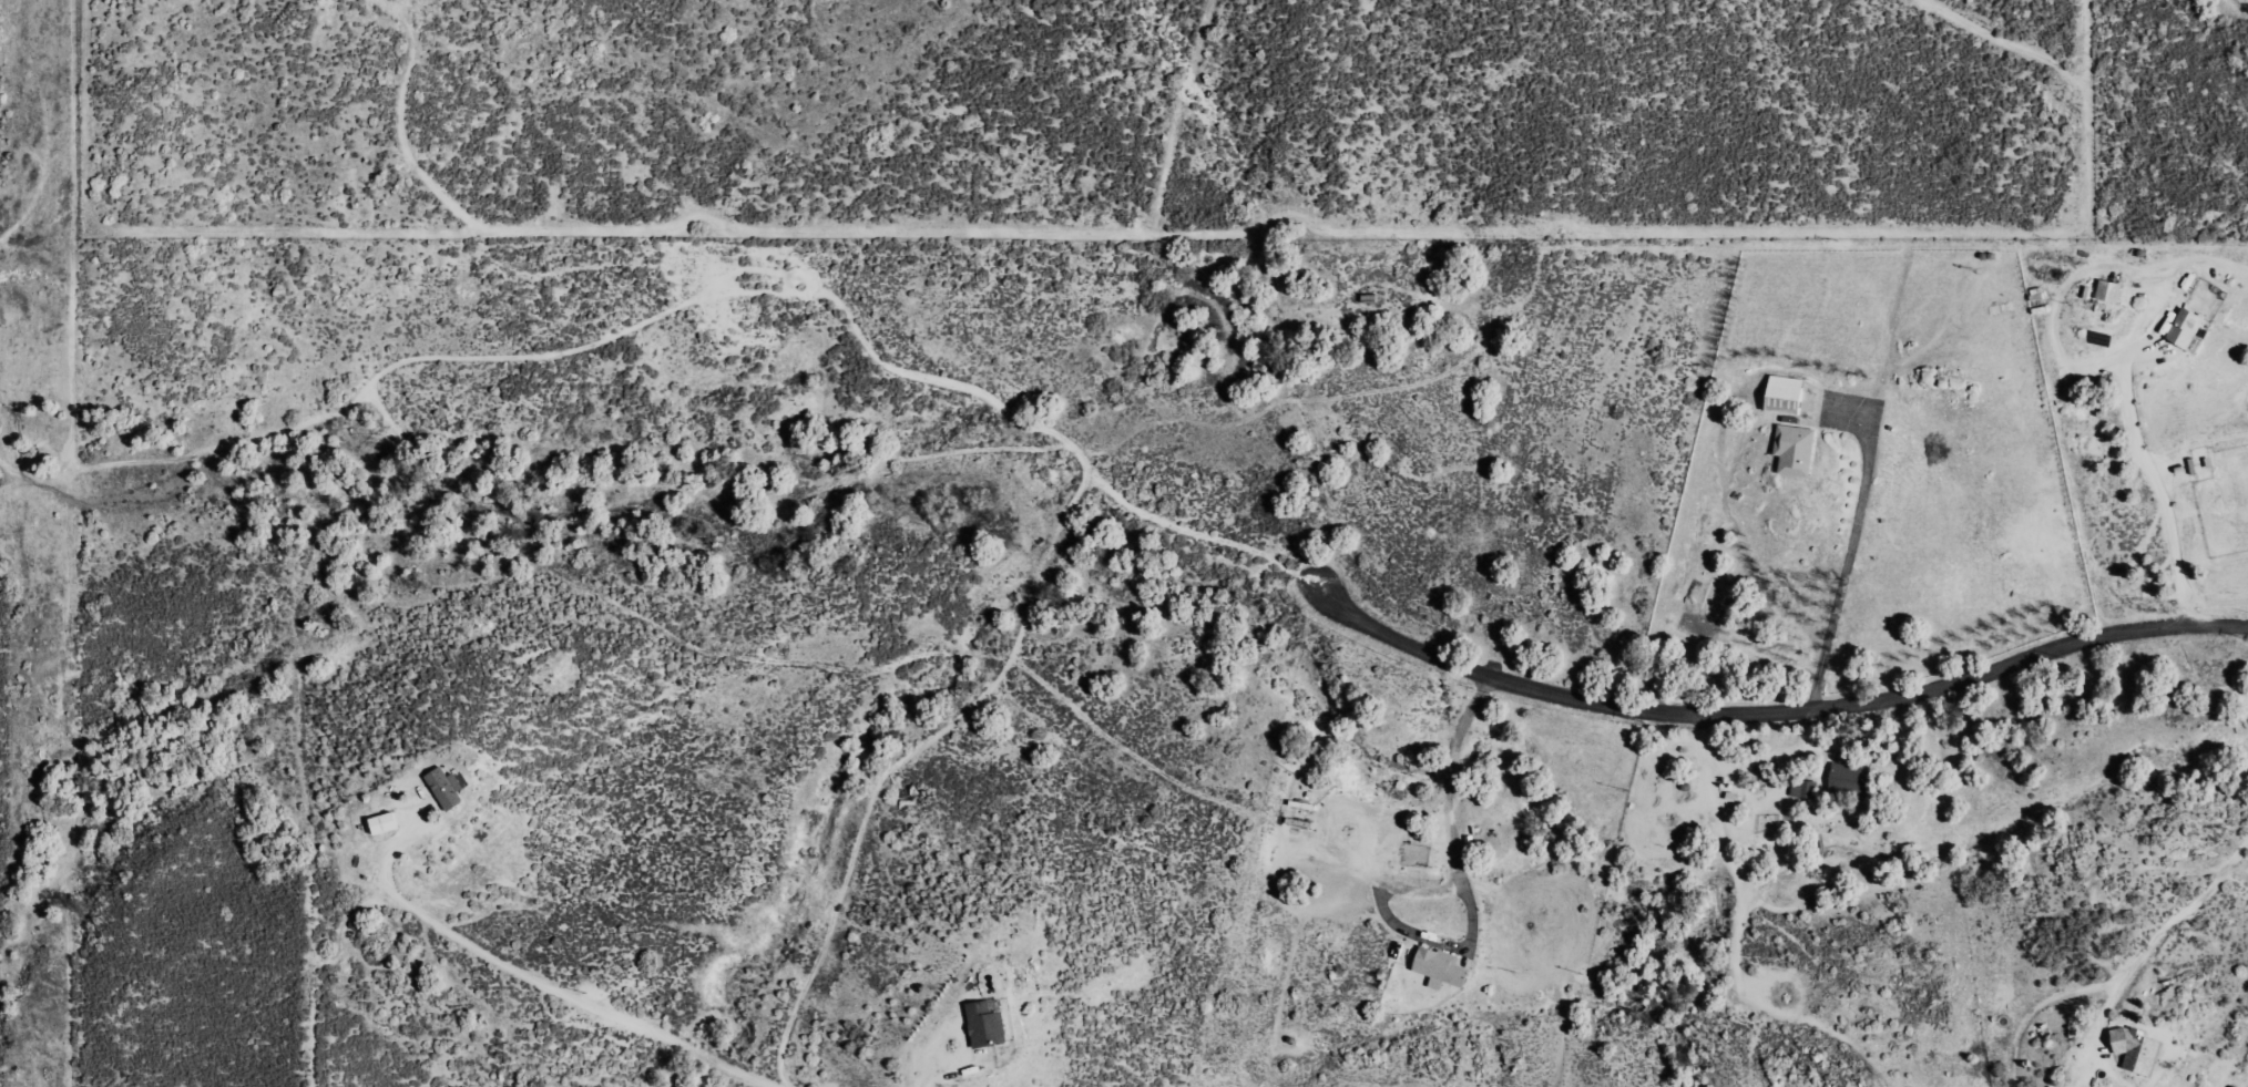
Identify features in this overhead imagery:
building: (2109, 290)
building: (2186, 327)
building: (1786, 394)
building: (1796, 449)
road: (1768, 716)
building: (1851, 779)
building: (447, 787)
building: (1805, 788)
building: (384, 823)
building: (1441, 967)
building: (987, 1023)
building: (2137, 1049)

